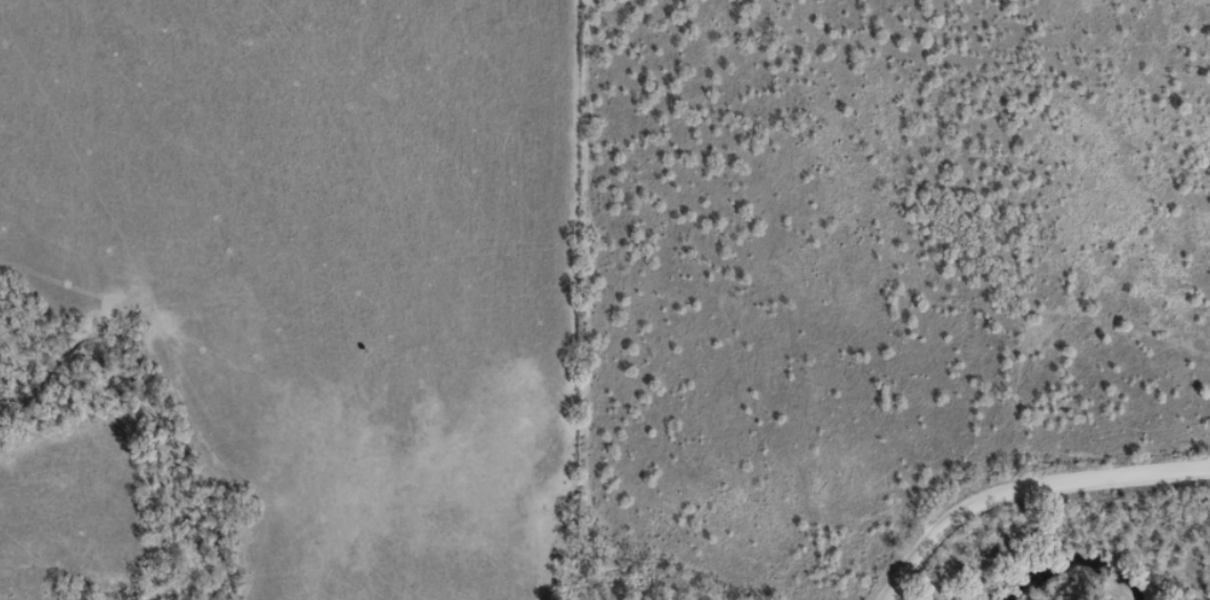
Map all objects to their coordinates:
road: (1024, 487)

